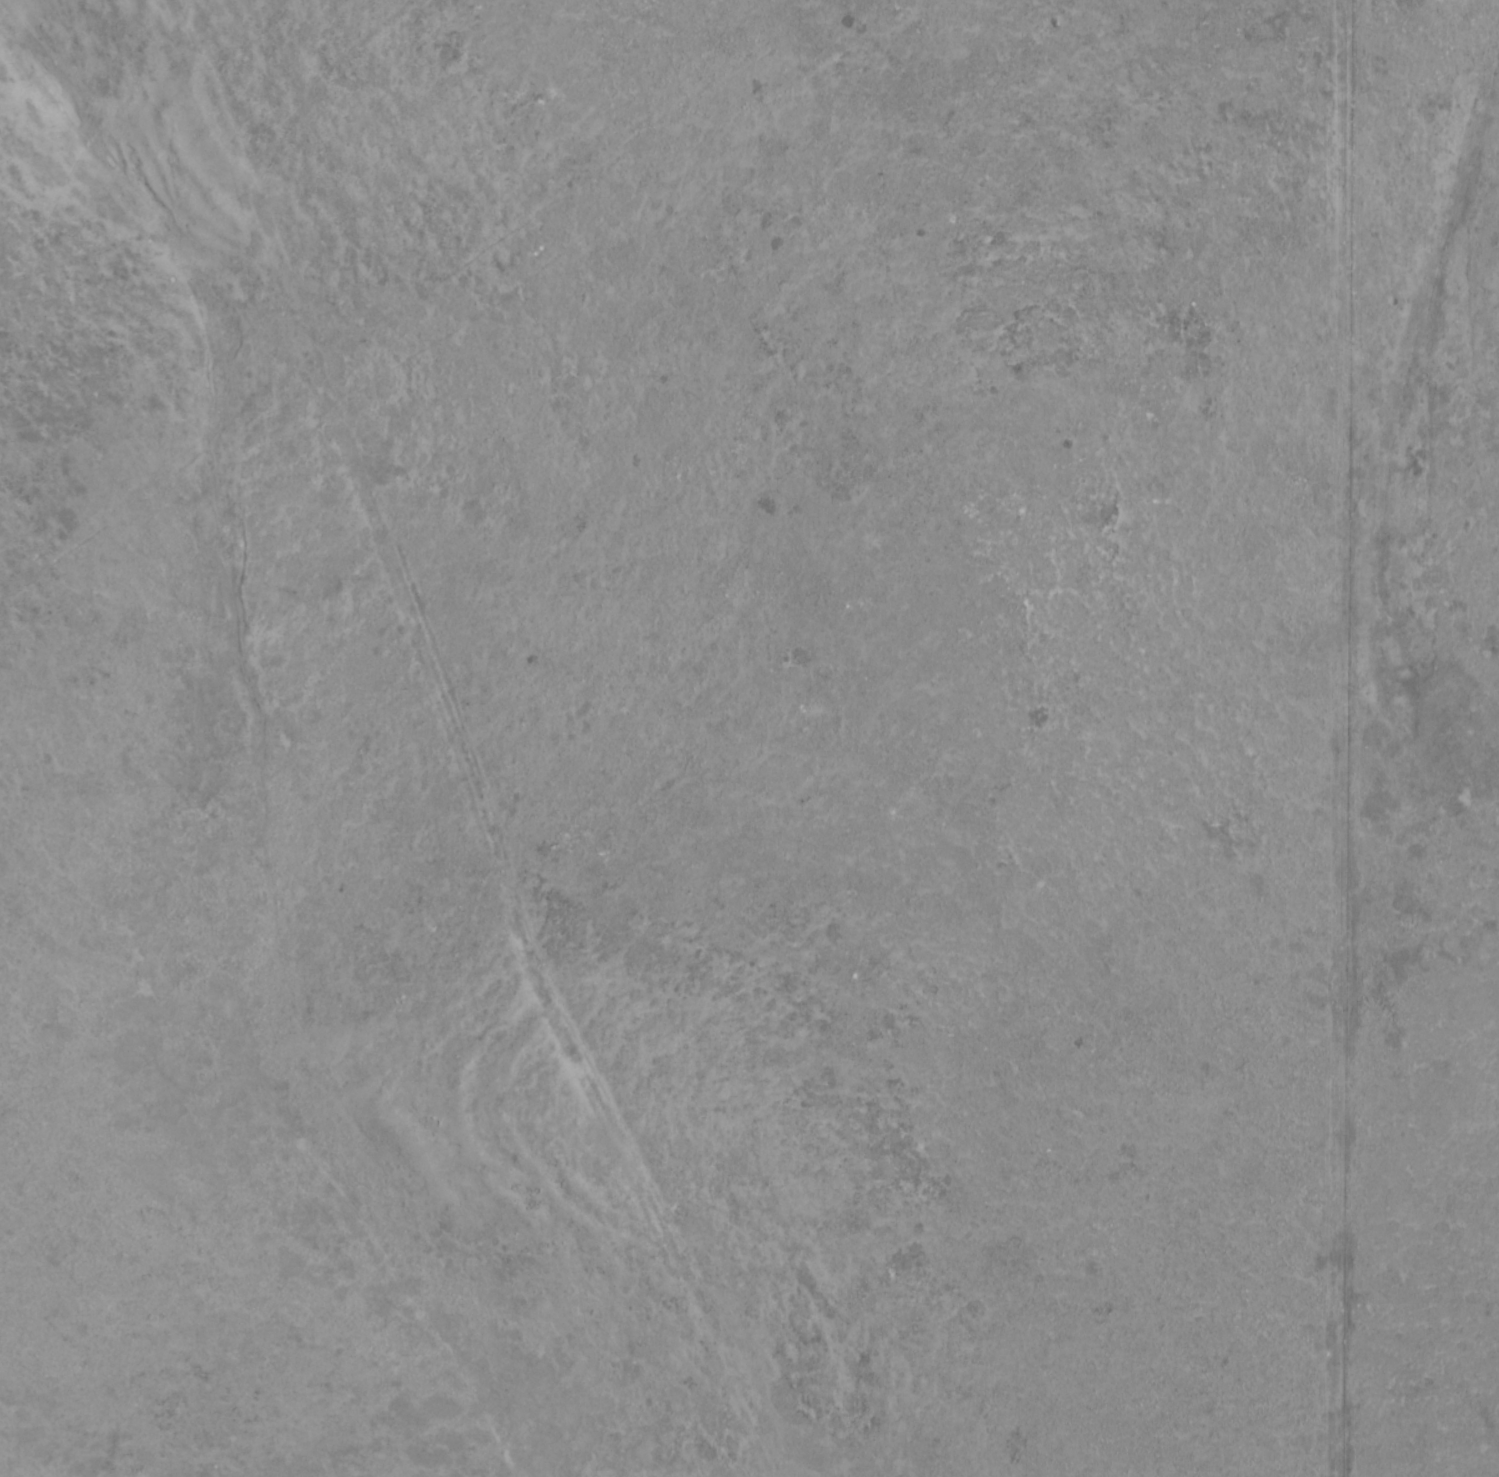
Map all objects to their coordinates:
road: (1300, 738)

